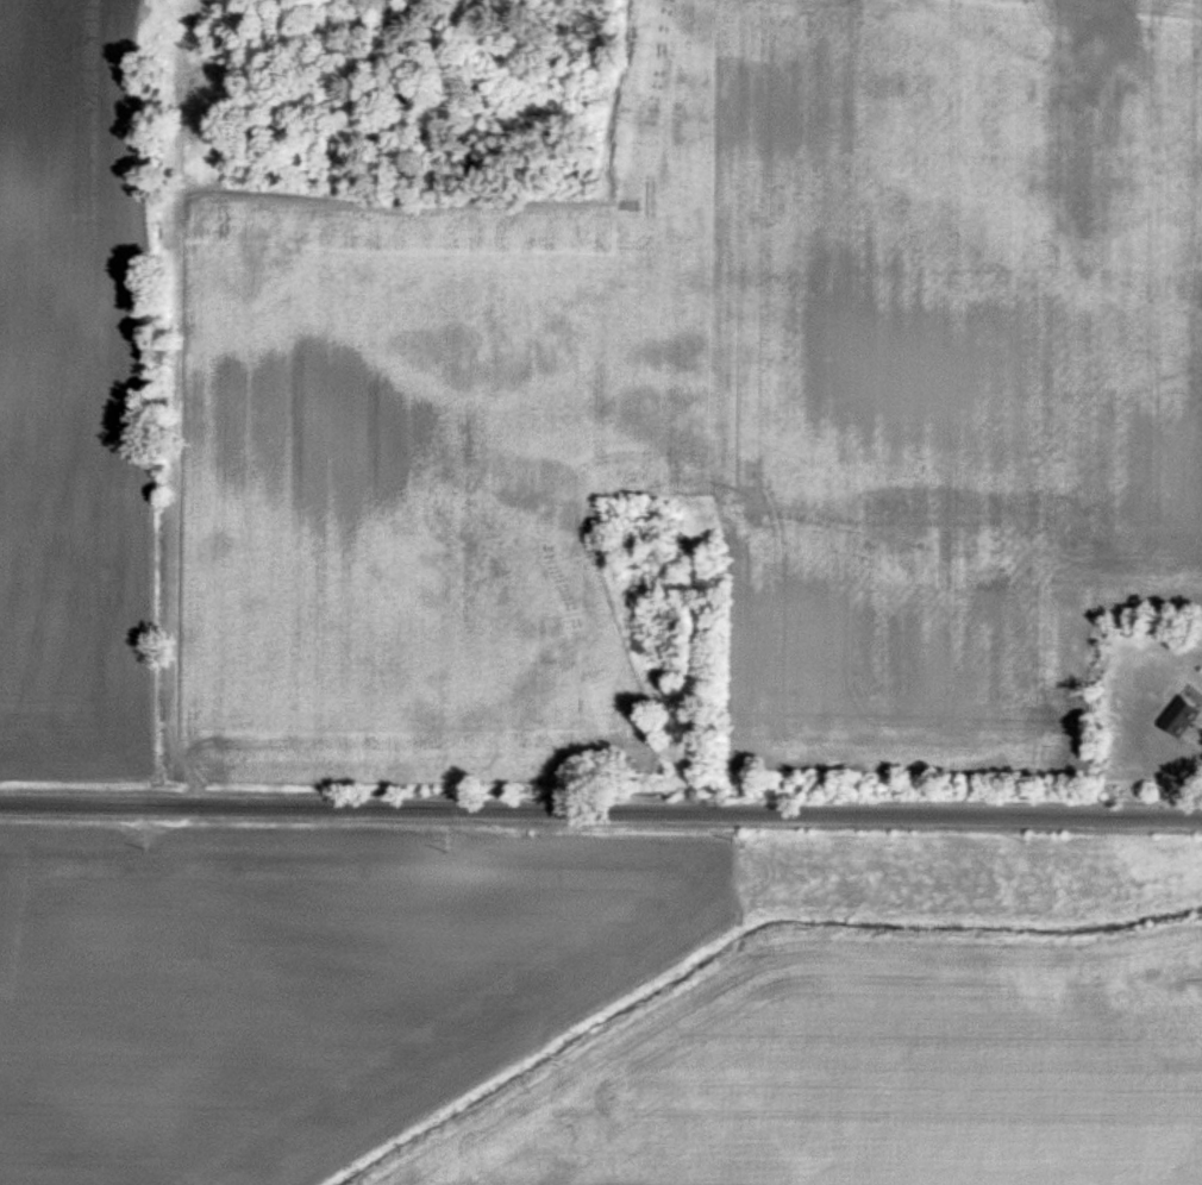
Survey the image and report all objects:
road: (601, 804)

